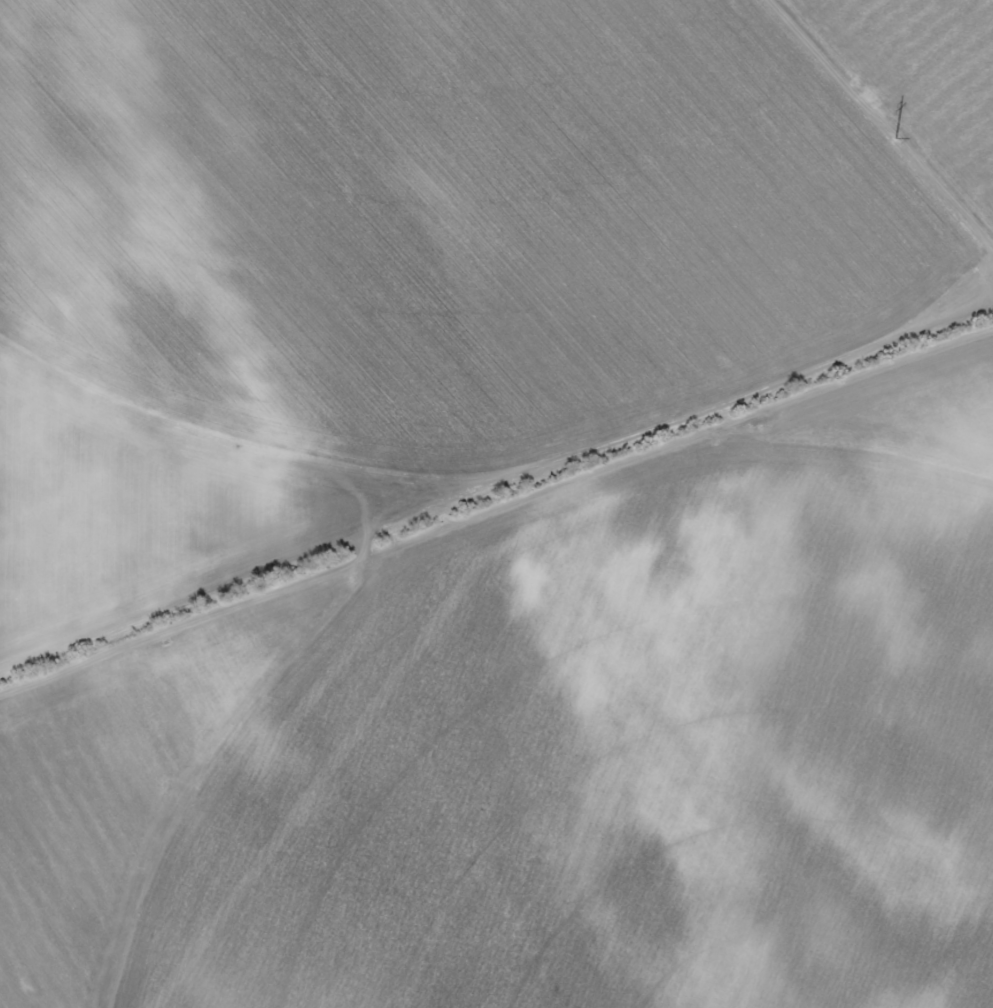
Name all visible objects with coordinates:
power tower: (900, 146)

